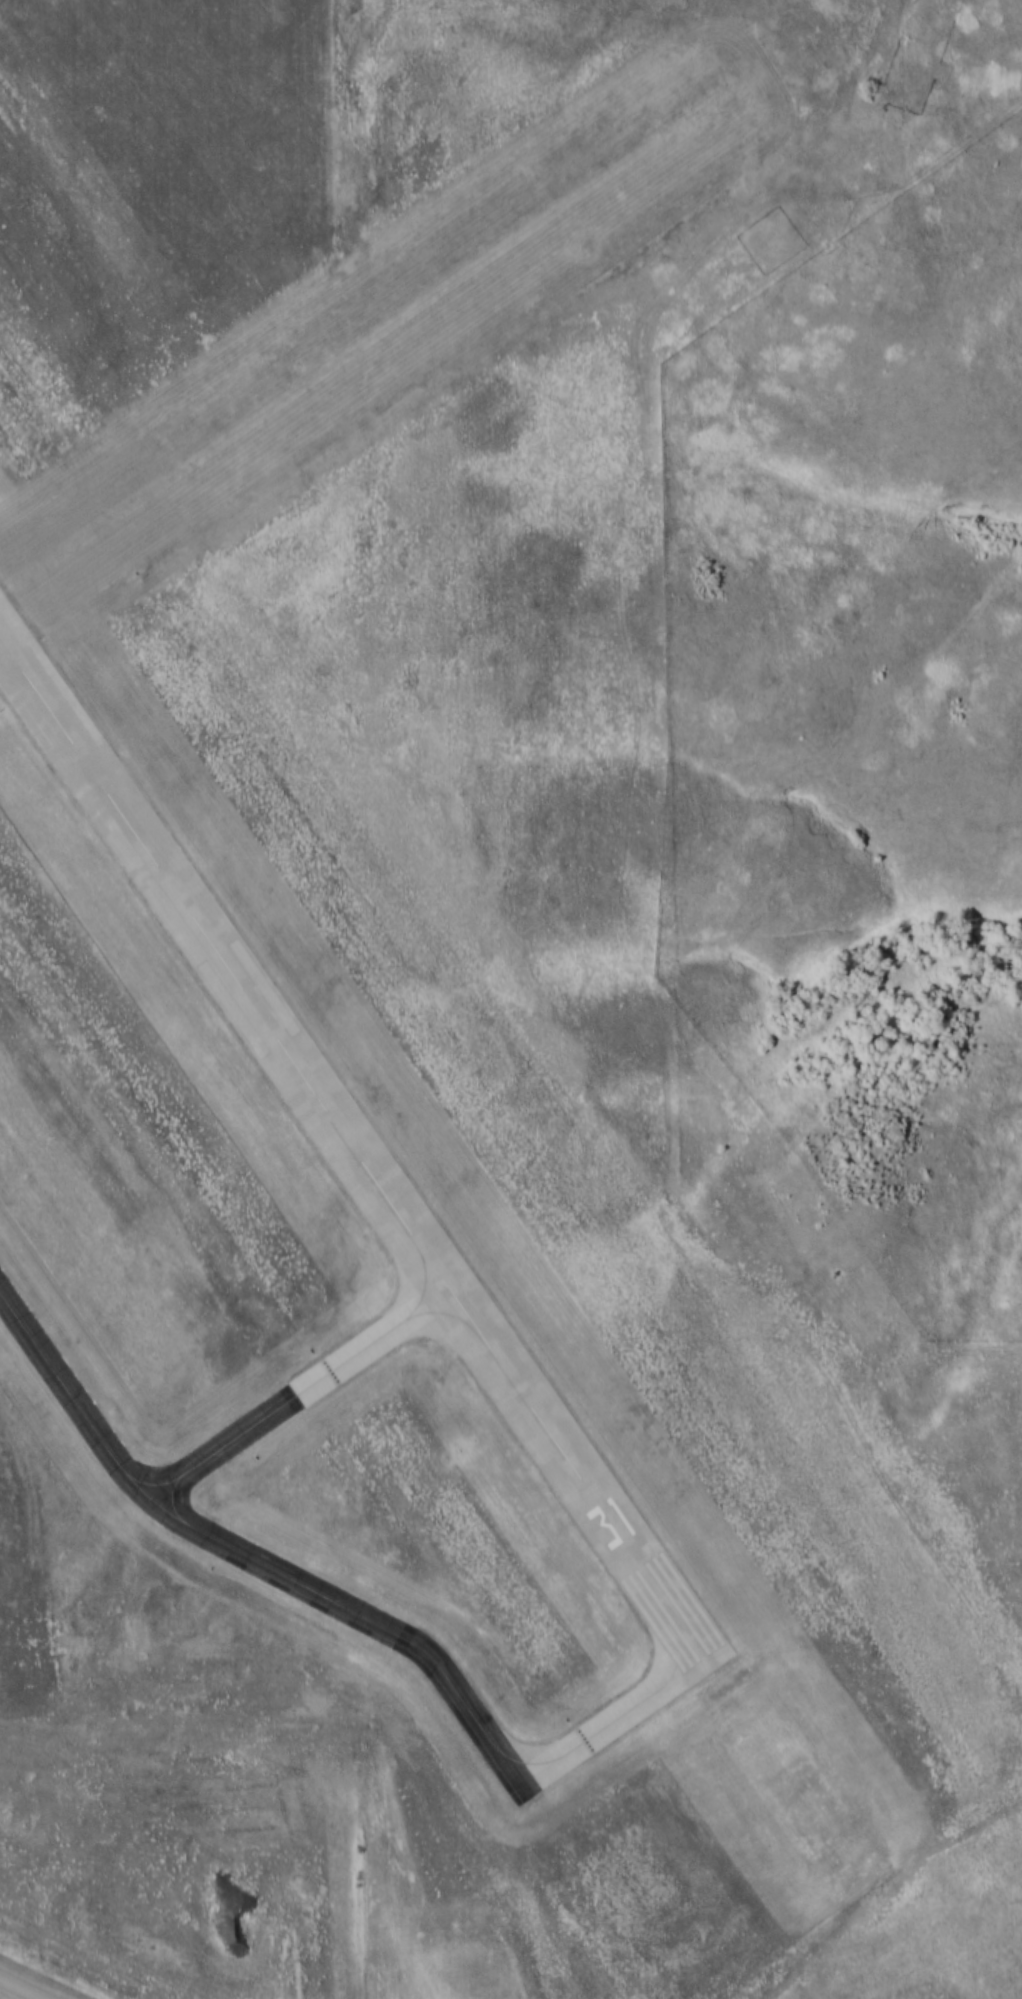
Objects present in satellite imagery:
airport runway: (364, 344)
airport runway: (358, 1154)
airport taxiway: (302, 1394)
airport taxiway: (313, 1589)
road: (29, 1729)
road: (23, 1987)

